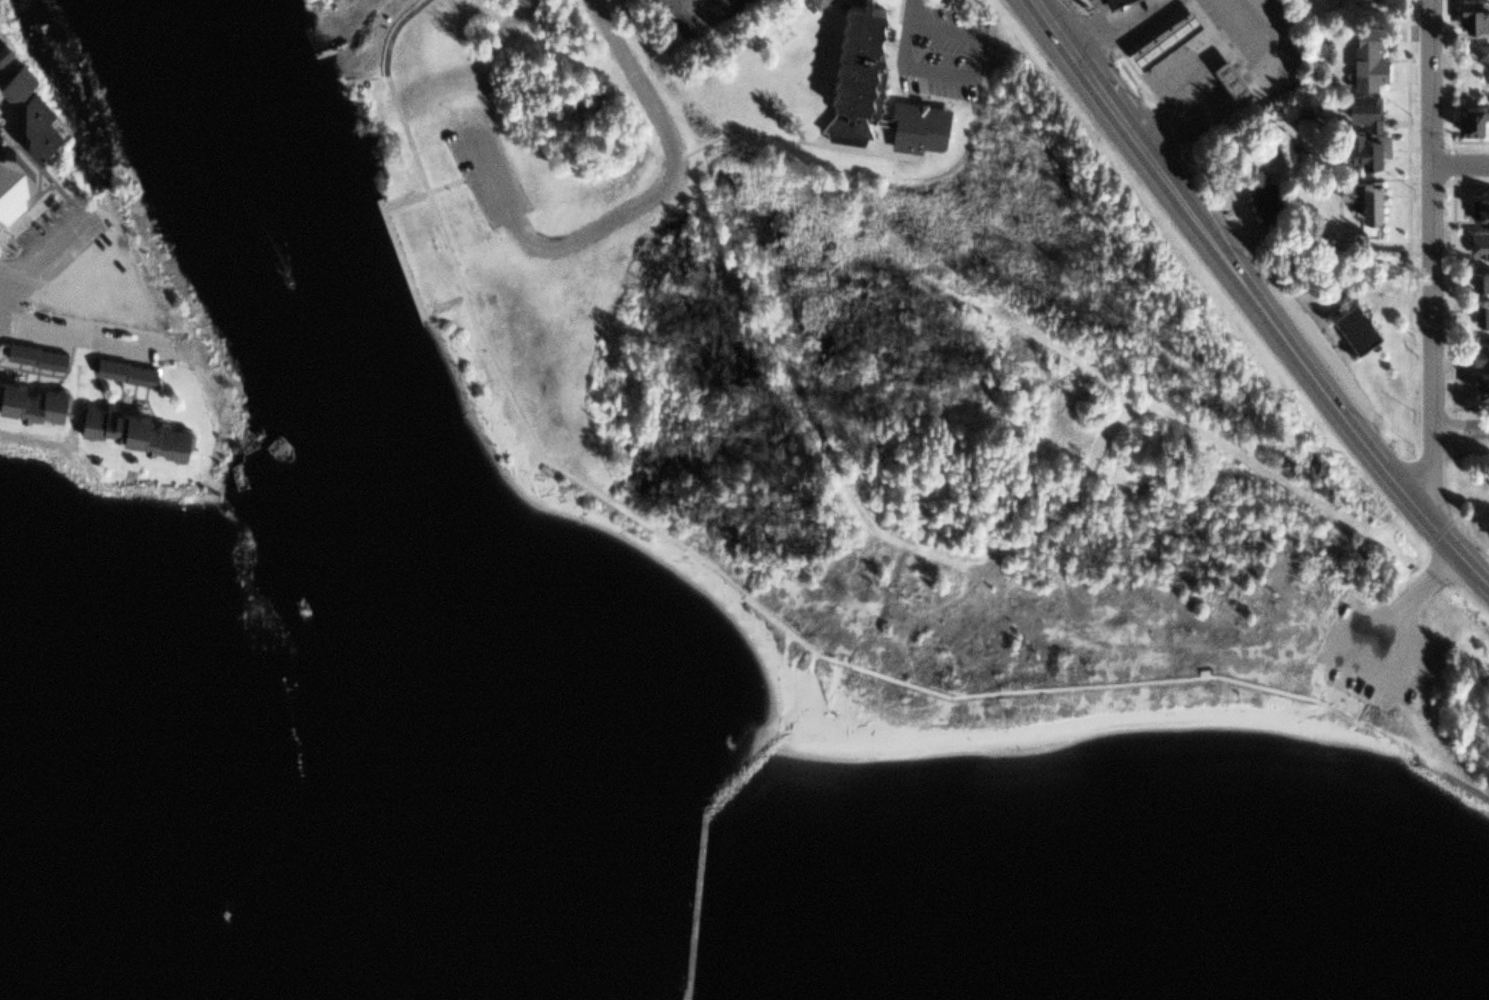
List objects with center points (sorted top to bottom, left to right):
building: (1115, 1)
building: (819, 2)
building: (1473, 13)
building: (1167, 35)
road: (909, 56)
building: (1369, 56)
building: (857, 72)
building: (1233, 76)
building: (18, 80)
building: (1473, 116)
building: (39, 123)
building: (1366, 129)
road: (1460, 165)
parking lot: (484, 167)
building: (13, 180)
building: (1365, 195)
building: (1265, 198)
building: (1480, 206)
road: (637, 207)
road: (392, 228)
building: (1479, 240)
road: (1431, 254)
building: (1480, 276)
road: (1, 279)
road: (1255, 300)
building: (1482, 313)
building: (1357, 323)
building: (1481, 352)
building: (36, 354)
building: (125, 369)
river: (321, 370)
building: (1483, 382)
road: (502, 385)
building: (32, 397)
building: (135, 429)
road: (1460, 429)
park: (818, 449)
road: (1399, 609)
parking lot: (1375, 649)
road: (1064, 682)
road: (1343, 692)
road: (1400, 745)
road: (707, 806)

